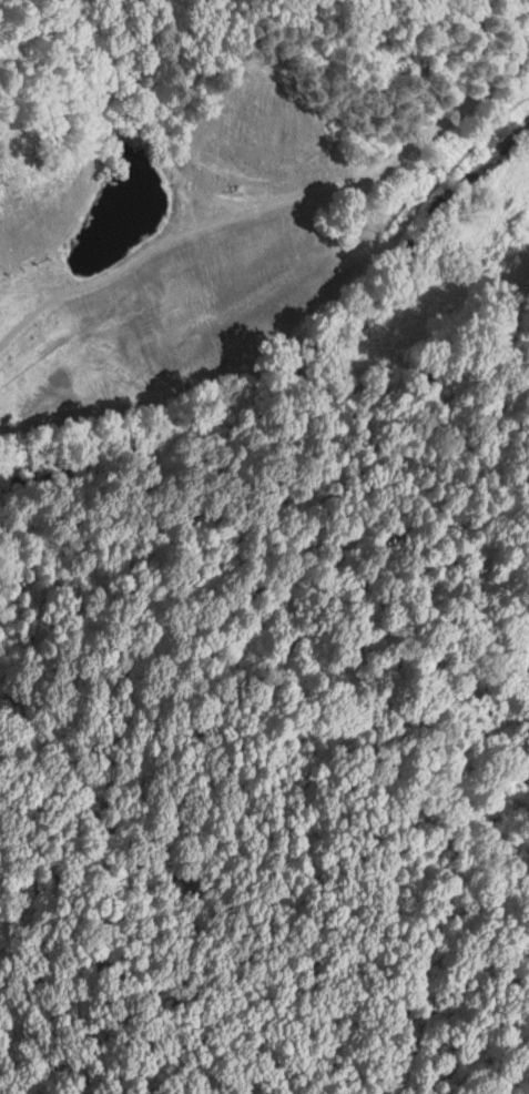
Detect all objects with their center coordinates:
road: (274, 199)

